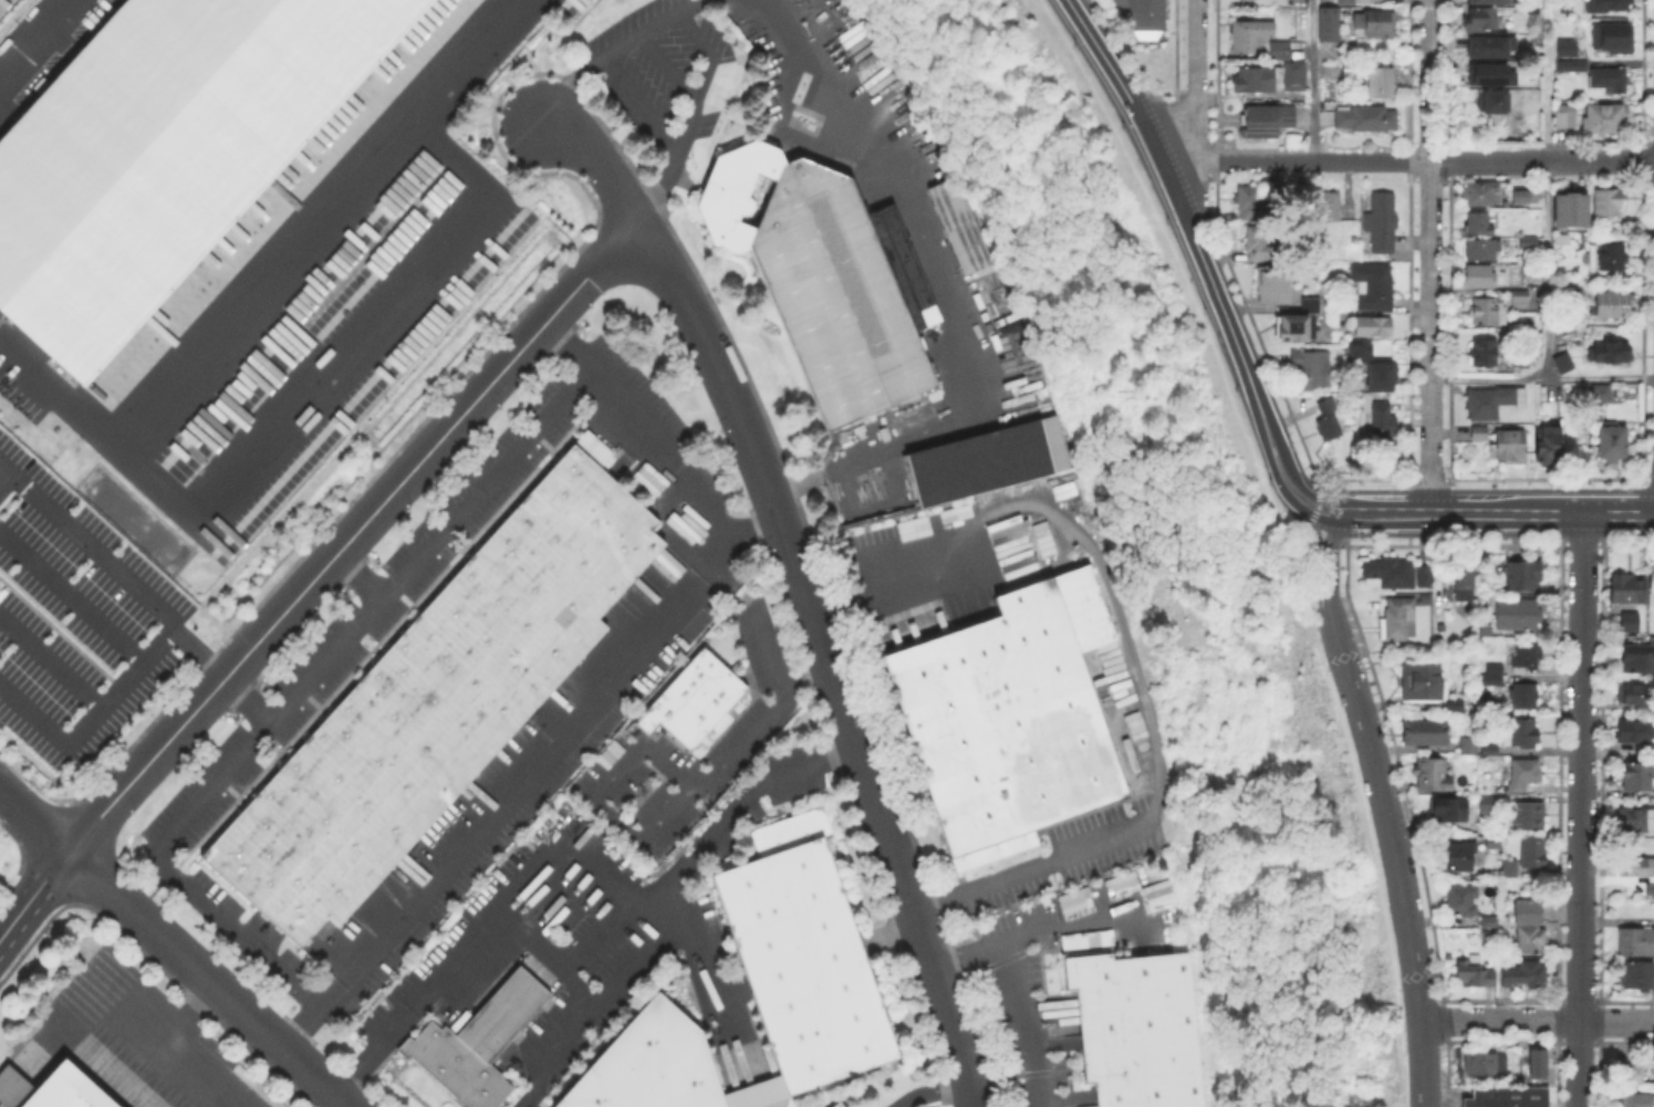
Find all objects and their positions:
building: (1346, 1)
building: (1489, 1)
building: (1297, 2)
building: (1610, 7)
building: (1145, 17)
building: (1480, 20)
building: (1376, 24)
building: (1330, 25)
road: (28, 31)
building: (1250, 34)
road: (700, 36)
building: (1613, 36)
road: (1110, 44)
building: (1489, 45)
building: (1568, 48)
building: (1281, 52)
road: (1127, 55)
road: (673, 66)
building: (1572, 67)
building: (1353, 73)
building: (1489, 73)
building: (1610, 79)
building: (1270, 80)
road: (1313, 81)
building: (1382, 83)
road: (1196, 85)
road: (1195, 90)
road: (1144, 91)
building: (1495, 103)
road: (644, 104)
road: (1174, 115)
road: (1215, 115)
building: (1564, 116)
building: (1605, 118)
building: (1366, 119)
building: (1267, 122)
building: (162, 150)
road: (1215, 160)
road: (1171, 161)
road: (1405, 161)
road: (1183, 163)
road: (601, 164)
road: (1547, 188)
building: (1483, 195)
building: (1521, 197)
building: (1250, 203)
building: (1608, 203)
building: (1332, 207)
road: (1178, 208)
building: (1569, 210)
building: (1382, 223)
building: (957, 224)
building: (1479, 224)
building: (1258, 243)
building: (1529, 243)
building: (1484, 250)
building: (1575, 250)
road: (1431, 255)
building: (1612, 258)
building: (904, 269)
building: (1536, 275)
building: (1479, 278)
building: (821, 279)
road: (270, 284)
building: (1273, 288)
building: (1374, 288)
building: (1519, 295)
building: (1574, 295)
road: (947, 303)
building: (1615, 305)
building: (1312, 306)
building: (1488, 313)
building: (1294, 327)
building: (1366, 327)
building: (1580, 332)
building: (1484, 354)
building: (1610, 355)
building: (1520, 363)
building: (1561, 364)
road: (354, 365)
building: (1312, 369)
road: (1272, 374)
building: (1382, 377)
road: (1541, 378)
building: (1492, 404)
road: (1273, 405)
building: (1329, 422)
building: (1383, 422)
building: (1479, 434)
building: (1612, 442)
building: (1548, 445)
building: (1509, 448)
building: (989, 462)
road: (12, 466)
road: (1287, 467)
road: (687, 472)
road: (1544, 477)
road: (1647, 477)
road: (1276, 478)
road: (1428, 478)
road: (486, 483)
road: (1317, 488)
road: (1543, 489)
road: (1645, 489)
road: (1428, 490)
road: (1329, 499)
road: (1387, 502)
road: (1641, 509)
road: (1313, 510)
road: (1450, 510)
road: (1542, 512)
road: (1375, 513)
road: (1322, 519)
road: (1384, 523)
road: (1078, 530)
road: (1627, 530)
road: (1581, 531)
road: (1329, 532)
road: (1444, 532)
road: (1308, 533)
road: (352, 535)
road: (1453, 542)
road: (1580, 542)
road: (1627, 542)
road: (1318, 543)
road: (1338, 543)
road: (105, 546)
park: (1164, 563)
building: (1390, 573)
building: (1522, 576)
building: (1426, 577)
road: (1327, 582)
building: (1465, 584)
building: (1652, 586)
building: (1627, 588)
road: (73, 595)
building: (1632, 614)
building: (1517, 615)
building: (1400, 620)
road: (825, 655)
building: (1527, 655)
building: (1640, 658)
road: (52, 661)
building: (1492, 676)
building: (1422, 682)
building: (1634, 696)
road: (114, 697)
building: (1521, 698)
road: (250, 699)
building: (438, 699)
building: (695, 701)
building: (1455, 706)
building: (1011, 716)
building: (1635, 732)
building: (1520, 733)
building: (1425, 734)
road: (742, 744)
building: (1469, 748)
building: (1490, 751)
building: (1433, 775)
building: (1526, 775)
building: (1640, 777)
building: (1511, 789)
road: (506, 798)
building: (1487, 805)
road: (735, 810)
building: (1446, 810)
road: (1580, 810)
road: (193, 812)
building: (1530, 816)
road: (34, 821)
building: (1635, 821)
building: (792, 833)
building: (1495, 843)
road: (566, 850)
building: (996, 852)
building: (1533, 854)
building: (1457, 856)
road: (1395, 860)
building: (1510, 868)
road: (1028, 869)
building: (1639, 869)
building: (1120, 883)
road: (33, 895)
building: (1155, 895)
building: (1461, 899)
building: (1073, 901)
building: (1525, 915)
road: (1071, 919)
building: (1490, 923)
building: (1490, 938)
building: (1530, 941)
building: (1636, 943)
road: (703, 961)
building: (805, 967)
building: (1522, 973)
building: (1474, 974)
building: (1637, 978)
road: (208, 979)
road: (1018, 990)
road: (187, 1014)
road: (1537, 1021)
building: (1136, 1030)
building: (479, 1044)
road: (178, 1062)
building: (1533, 1062)
building: (1485, 1064)
building: (652, 1066)
building: (1633, 1075)
building: (13, 1089)
building: (67, 1090)
building: (1508, 1097)
building: (1639, 1100)
building: (840, 1106)

